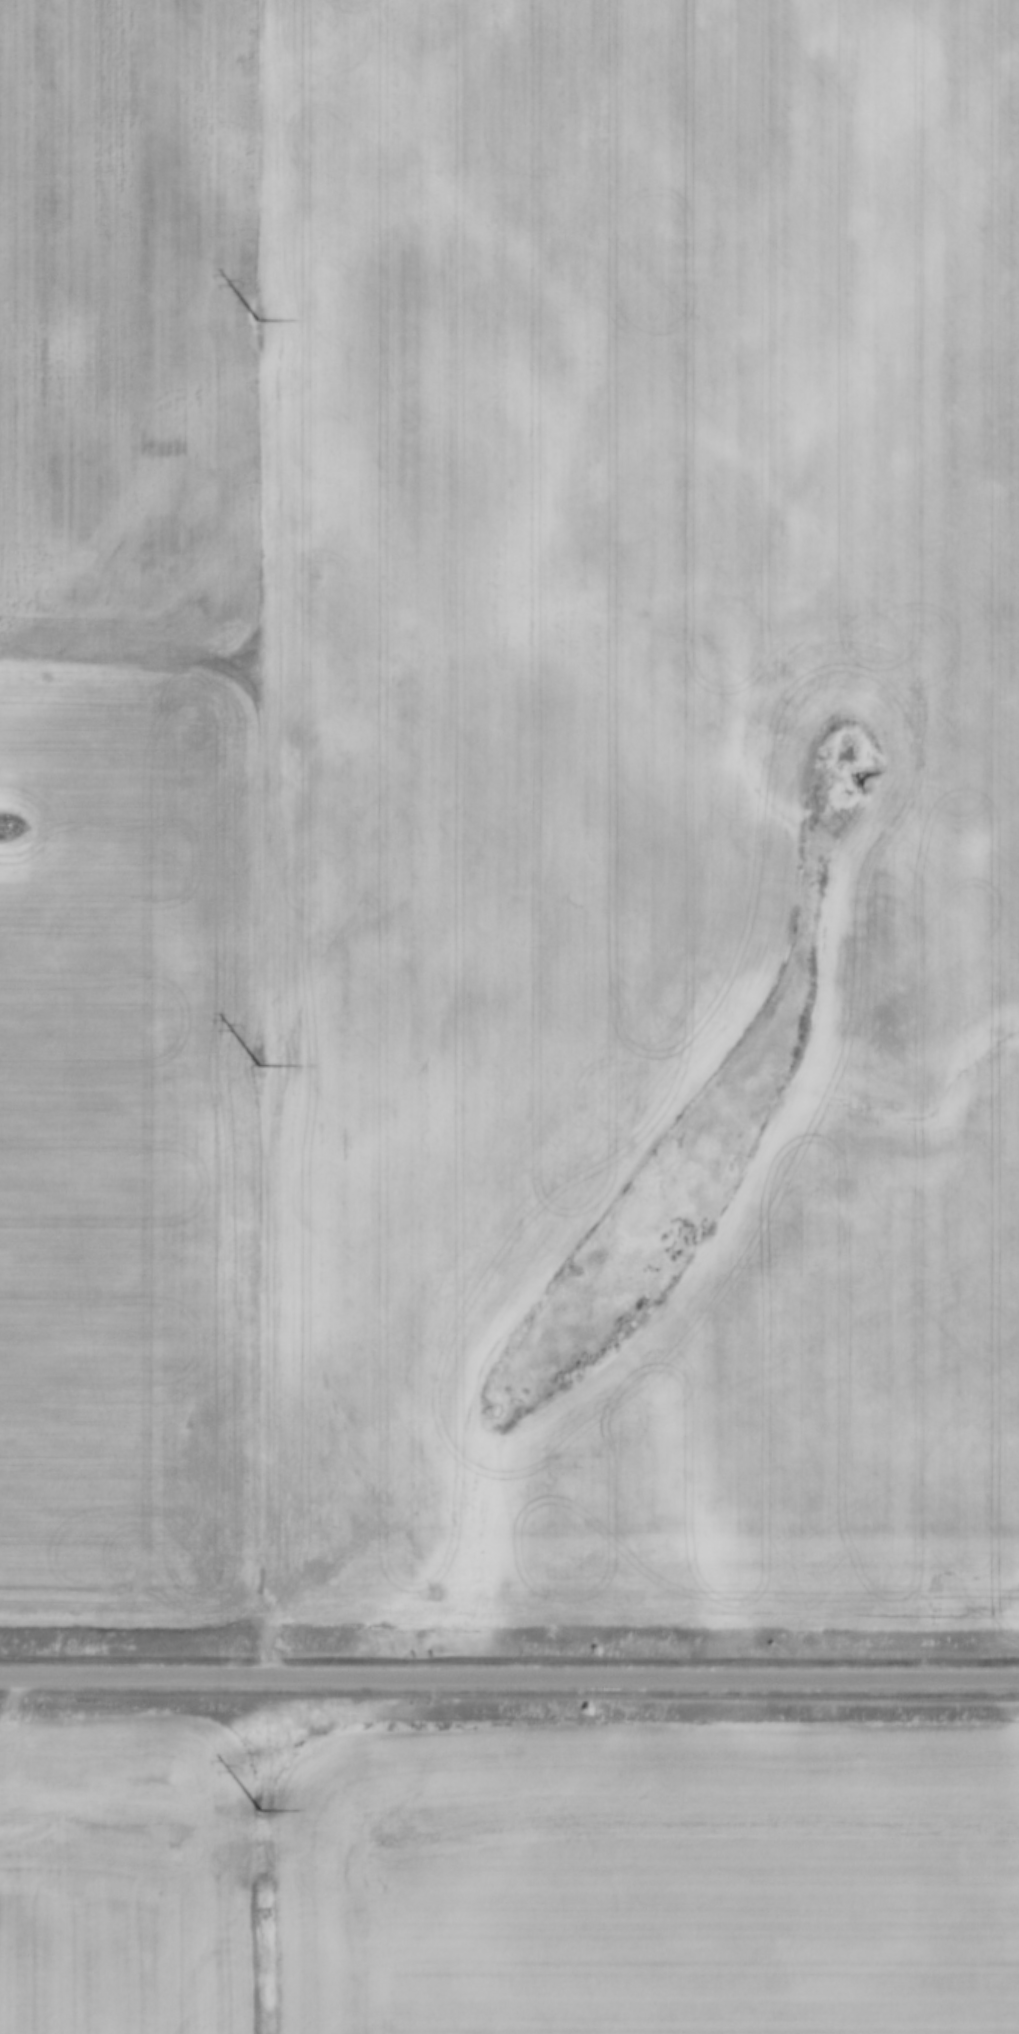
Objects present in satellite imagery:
power tower: (256, 318)
power tower: (257, 1063)
road: (509, 1677)
power tower: (258, 1808)

